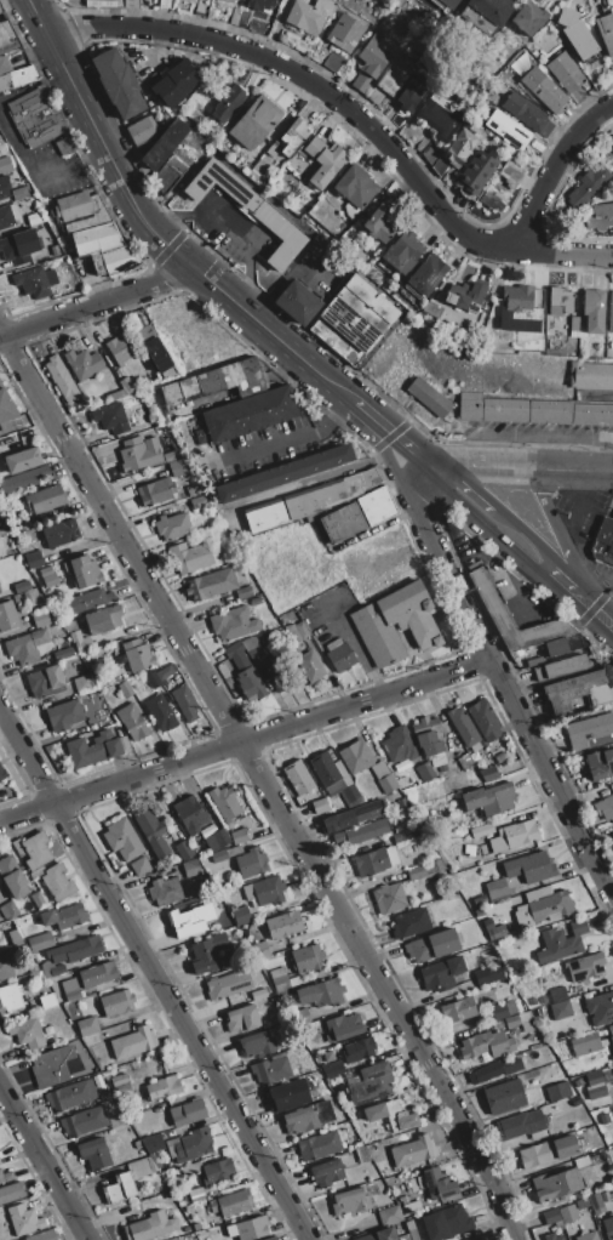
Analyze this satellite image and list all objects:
building: (229, 0)
building: (448, 2)
building: (165, 4)
building: (259, 4)
building: (199, 6)
building: (489, 12)
building: (309, 15)
road: (40, 17)
building: (528, 17)
building: (566, 17)
building: (606, 32)
building: (344, 33)
building: (7, 38)
building: (579, 39)
building: (389, 49)
building: (373, 56)
building: (333, 62)
building: (4, 64)
building: (565, 72)
building: (21, 76)
building: (394, 76)
road: (308, 81)
building: (361, 83)
building: (116, 84)
building: (174, 84)
building: (543, 90)
building: (412, 92)
road: (16, 96)
building: (228, 104)
building: (527, 113)
building: (441, 115)
building: (40, 121)
building: (253, 123)
building: (506, 129)
building: (142, 130)
building: (292, 136)
building: (164, 144)
building: (459, 147)
road: (108, 155)
building: (323, 161)
building: (5, 165)
building: (477, 170)
road: (552, 171)
road: (34, 175)
building: (167, 175)
building: (586, 184)
building: (500, 186)
building: (4, 187)
building: (355, 187)
building: (19, 193)
building: (248, 210)
building: (13, 211)
building: (600, 216)
building: (5, 217)
building: (33, 218)
building: (378, 223)
road: (227, 227)
building: (92, 233)
building: (18, 246)
building: (317, 249)
building: (402, 252)
road: (562, 254)
building: (426, 274)
building: (34, 280)
building: (465, 296)
building: (521, 301)
building: (558, 301)
building: (297, 302)
road: (96, 303)
building: (594, 311)
building: (609, 311)
building: (359, 314)
road: (257, 323)
building: (573, 326)
building: (144, 334)
road: (1, 335)
building: (119, 348)
building: (156, 354)
building: (82, 364)
building: (590, 375)
building: (61, 380)
building: (214, 382)
building: (126, 386)
building: (115, 394)
building: (428, 397)
building: (6, 405)
building: (136, 410)
building: (532, 410)
building: (247, 414)
building: (110, 417)
building: (151, 419)
road: (377, 428)
road: (293, 434)
road: (537, 434)
building: (201, 436)
building: (141, 454)
building: (178, 454)
road: (388, 459)
building: (22, 460)
building: (178, 467)
road: (521, 468)
building: (283, 473)
road: (320, 478)
building: (22, 479)
road: (465, 482)
building: (193, 489)
building: (155, 491)
building: (44, 499)
building: (313, 500)
building: (197, 502)
building: (376, 506)
building: (19, 508)
building: (342, 523)
building: (172, 527)
road: (482, 528)
road: (554, 529)
building: (1, 530)
road: (573, 533)
building: (59, 534)
road: (527, 535)
building: (603, 542)
road: (386, 553)
building: (194, 556)
building: (33, 559)
building: (82, 570)
building: (45, 571)
building: (48, 580)
road: (557, 580)
road: (499, 581)
building: (210, 584)
building: (24, 586)
building: (240, 593)
building: (488, 596)
building: (19, 597)
building: (87, 601)
building: (256, 601)
road: (590, 607)
building: (7, 615)
building: (40, 619)
building: (103, 619)
building: (233, 622)
building: (395, 624)
building: (300, 630)
building: (79, 642)
building: (565, 644)
building: (27, 645)
building: (62, 654)
building: (137, 655)
building: (339, 655)
building: (254, 656)
building: (90, 658)
building: (533, 661)
building: (310, 666)
building: (558, 667)
building: (245, 672)
building: (279, 673)
building: (159, 675)
building: (45, 682)
building: (82, 683)
road: (502, 687)
building: (580, 688)
building: (125, 689)
building: (184, 703)
building: (160, 713)
building: (63, 715)
building: (483, 719)
building: (107, 721)
building: (131, 721)
building: (462, 726)
building: (92, 727)
building: (589, 732)
building: (430, 741)
building: (124, 744)
road: (245, 744)
building: (399, 745)
building: (92, 750)
building: (355, 756)
building: (600, 763)
building: (379, 769)
building: (423, 770)
building: (2, 774)
building: (488, 774)
building: (297, 777)
building: (333, 777)
road: (264, 781)
building: (388, 784)
building: (488, 798)
building: (224, 802)
building: (319, 806)
building: (603, 807)
building: (190, 814)
building: (350, 817)
building: (481, 830)
building: (151, 832)
building: (362, 832)
building: (612, 834)
building: (514, 835)
building: (239, 836)
building: (405, 836)
building: (122, 840)
building: (216, 840)
building: (468, 849)
building: (183, 851)
building: (224, 854)
building: (374, 860)
building: (251, 863)
building: (141, 865)
building: (529, 866)
building: (35, 868)
building: (190, 868)
building: (176, 870)
building: (414, 872)
building: (12, 877)
building: (497, 889)
building: (164, 891)
building: (264, 891)
building: (388, 897)
building: (36, 899)
building: (479, 899)
building: (551, 905)
building: (11, 909)
building: (262, 911)
building: (63, 916)
building: (241, 916)
building: (190, 920)
building: (409, 922)
building: (282, 925)
building: (488, 929)
building: (561, 940)
building: (40, 942)
building: (431, 945)
building: (75, 949)
building: (259, 949)
building: (207, 952)
building: (306, 959)
building: (5, 967)
building: (585, 967)
building: (57, 969)
road: (155, 972)
building: (277, 972)
building: (97, 974)
building: (441, 974)
building: (488, 974)
building: (296, 980)
building: (228, 984)
building: (280, 984)
building: (68, 985)
building: (320, 992)
building: (258, 994)
building: (557, 994)
building: (71, 995)
building: (10, 999)
building: (273, 999)
building: (542, 1000)
building: (532, 1001)
building: (116, 1002)
building: (510, 1007)
building: (600, 1008)
building: (457, 1009)
building: (560, 1009)
building: (498, 1011)
building: (242, 1018)
building: (511, 1020)
building: (86, 1026)
building: (342, 1026)
building: (611, 1030)
building: (27, 1033)
building: (612, 1041)
building: (132, 1042)
building: (257, 1043)
building: (584, 1043)
building: (486, 1046)
building: (357, 1050)
building: (51, 1066)
building: (274, 1068)
building: (331, 1069)
building: (493, 1070)
building: (594, 1077)
building: (578, 1082)
building: (371, 1083)
building: (162, 1087)
building: (557, 1091)
building: (595, 1091)
building: (69, 1094)
building: (288, 1094)
building: (504, 1097)
building: (575, 1103)
building: (612, 1108)
building: (187, 1111)
building: (323, 1111)
building: (373, 1113)
building: (400, 1116)
building: (299, 1120)
building: (84, 1121)
building: (520, 1124)
building: (591, 1130)
building: (151, 1143)
building: (171, 1145)
building: (193, 1145)
building: (319, 1145)
building: (563, 1147)
building: (373, 1150)
building: (93, 1153)
building: (413, 1153)
building: (535, 1154)
building: (377, 1157)
building: (154, 1160)
building: (594, 1160)
road: (45, 1161)
building: (580, 1161)
building: (378, 1165)
building: (138, 1167)
building: (190, 1168)
building: (218, 1171)
building: (326, 1173)
building: (6, 1177)
building: (437, 1184)
building: (556, 1184)
building: (120, 1188)
building: (11, 1191)
building: (196, 1194)
building: (403, 1200)
building: (349, 1201)
building: (595, 1201)
building: (231, 1202)
building: (580, 1202)
building: (411, 1206)
building: (567, 1213)
building: (389, 1215)
building: (550, 1216)
building: (24, 1219)
building: (446, 1223)
building: (195, 1225)
building: (150, 1227)
building: (608, 1227)
building: (248, 1228)
building: (411, 1230)
building: (41, 1235)
building: (205, 1235)
building: (380, 1235)
building: (551, 1236)
building: (586, 1236)
building: (271, 1238)
building: (472, 1238)
building: (260, 1239)

